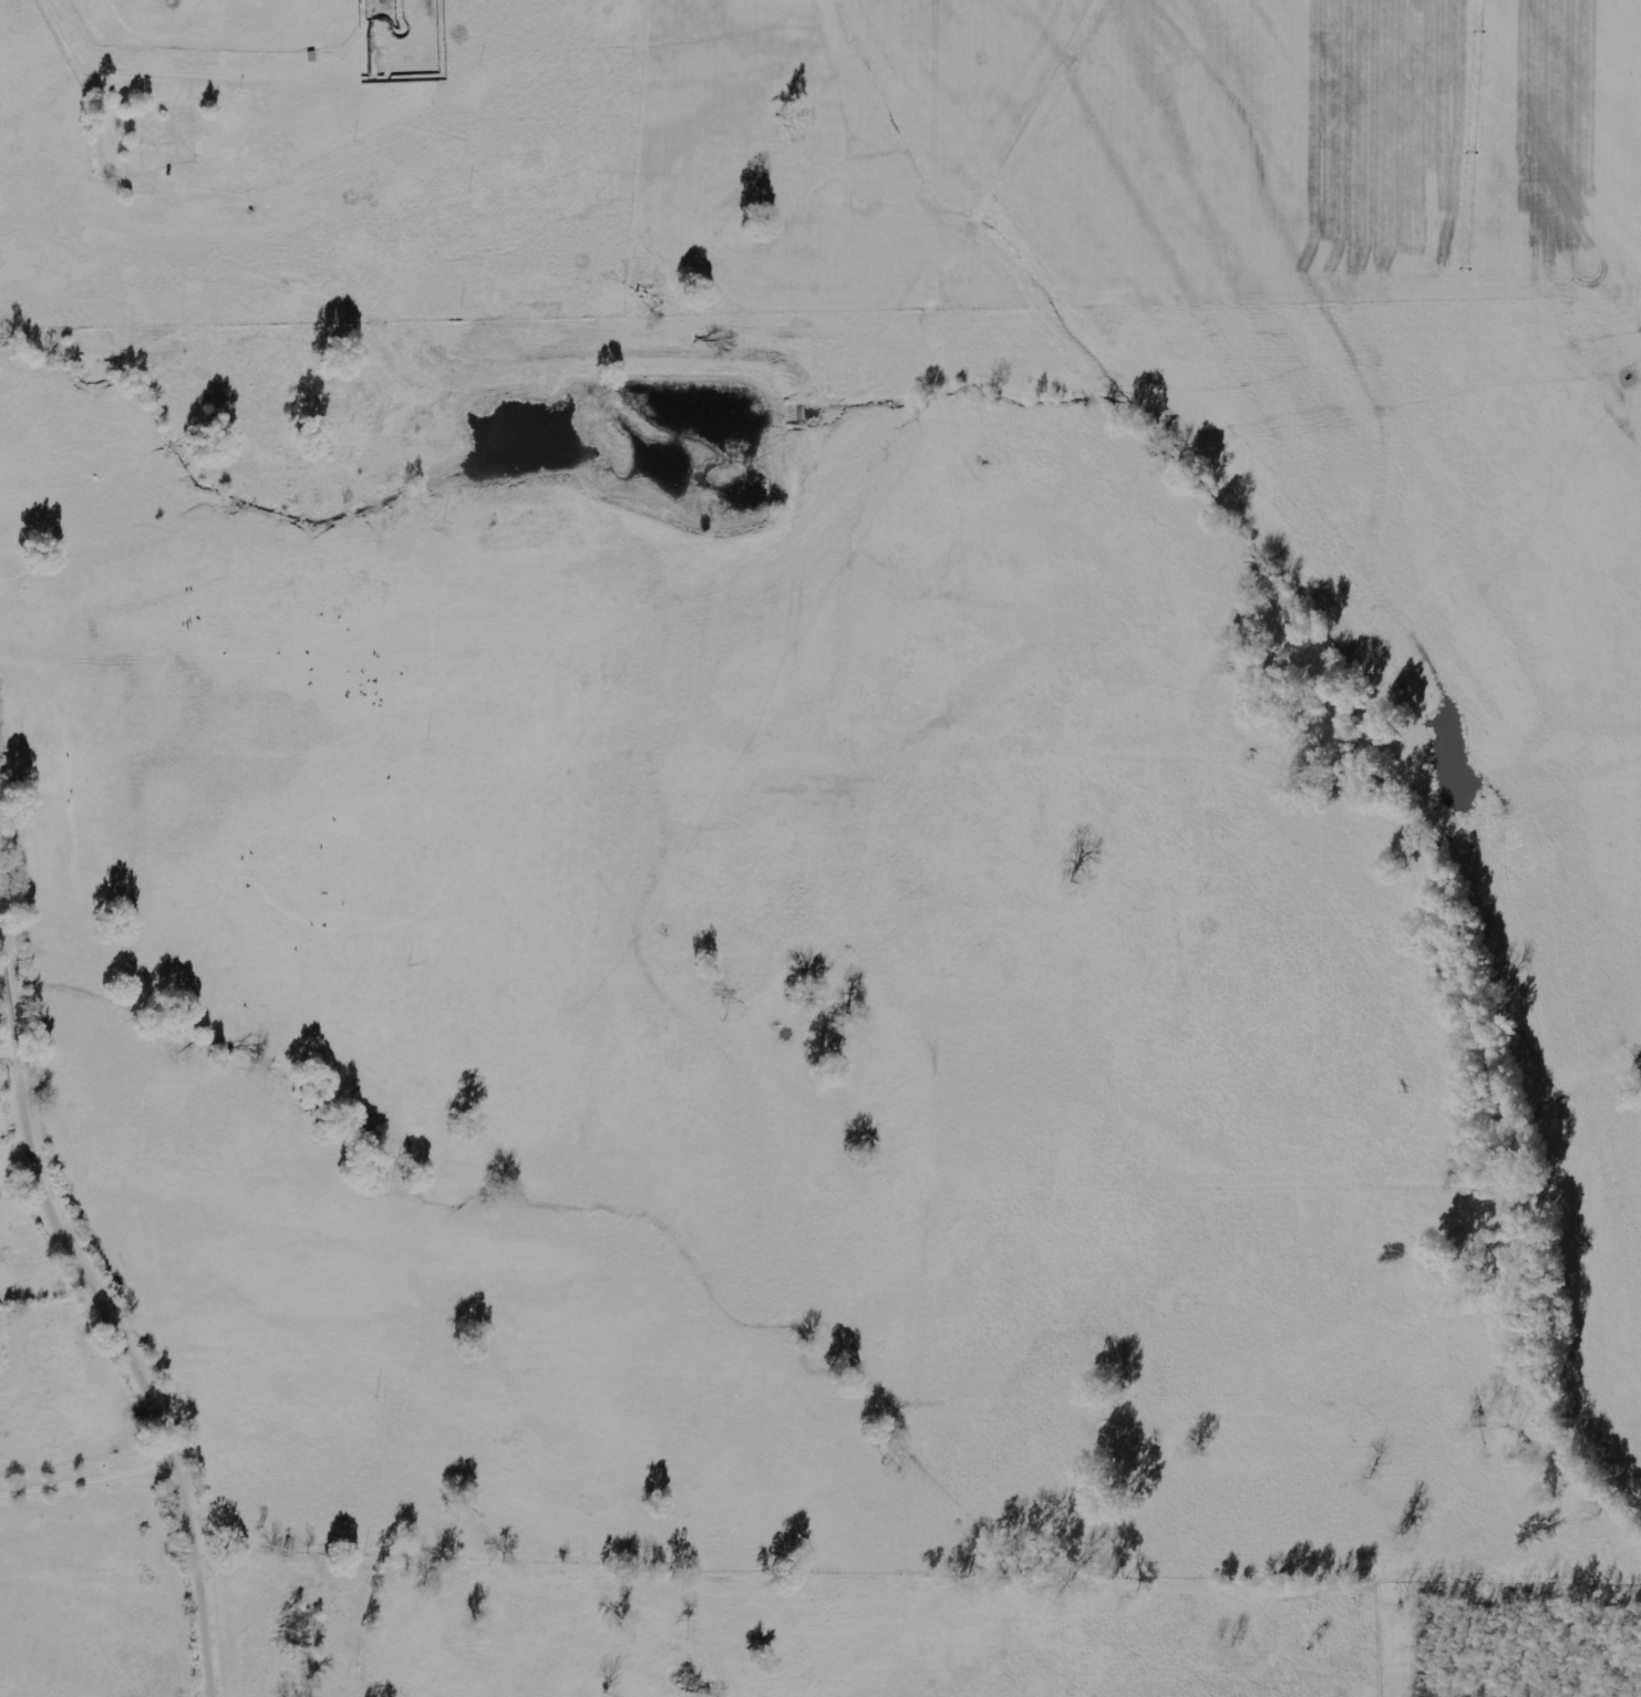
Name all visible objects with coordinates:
road: (48, 1146)
road: (58, 1321)

